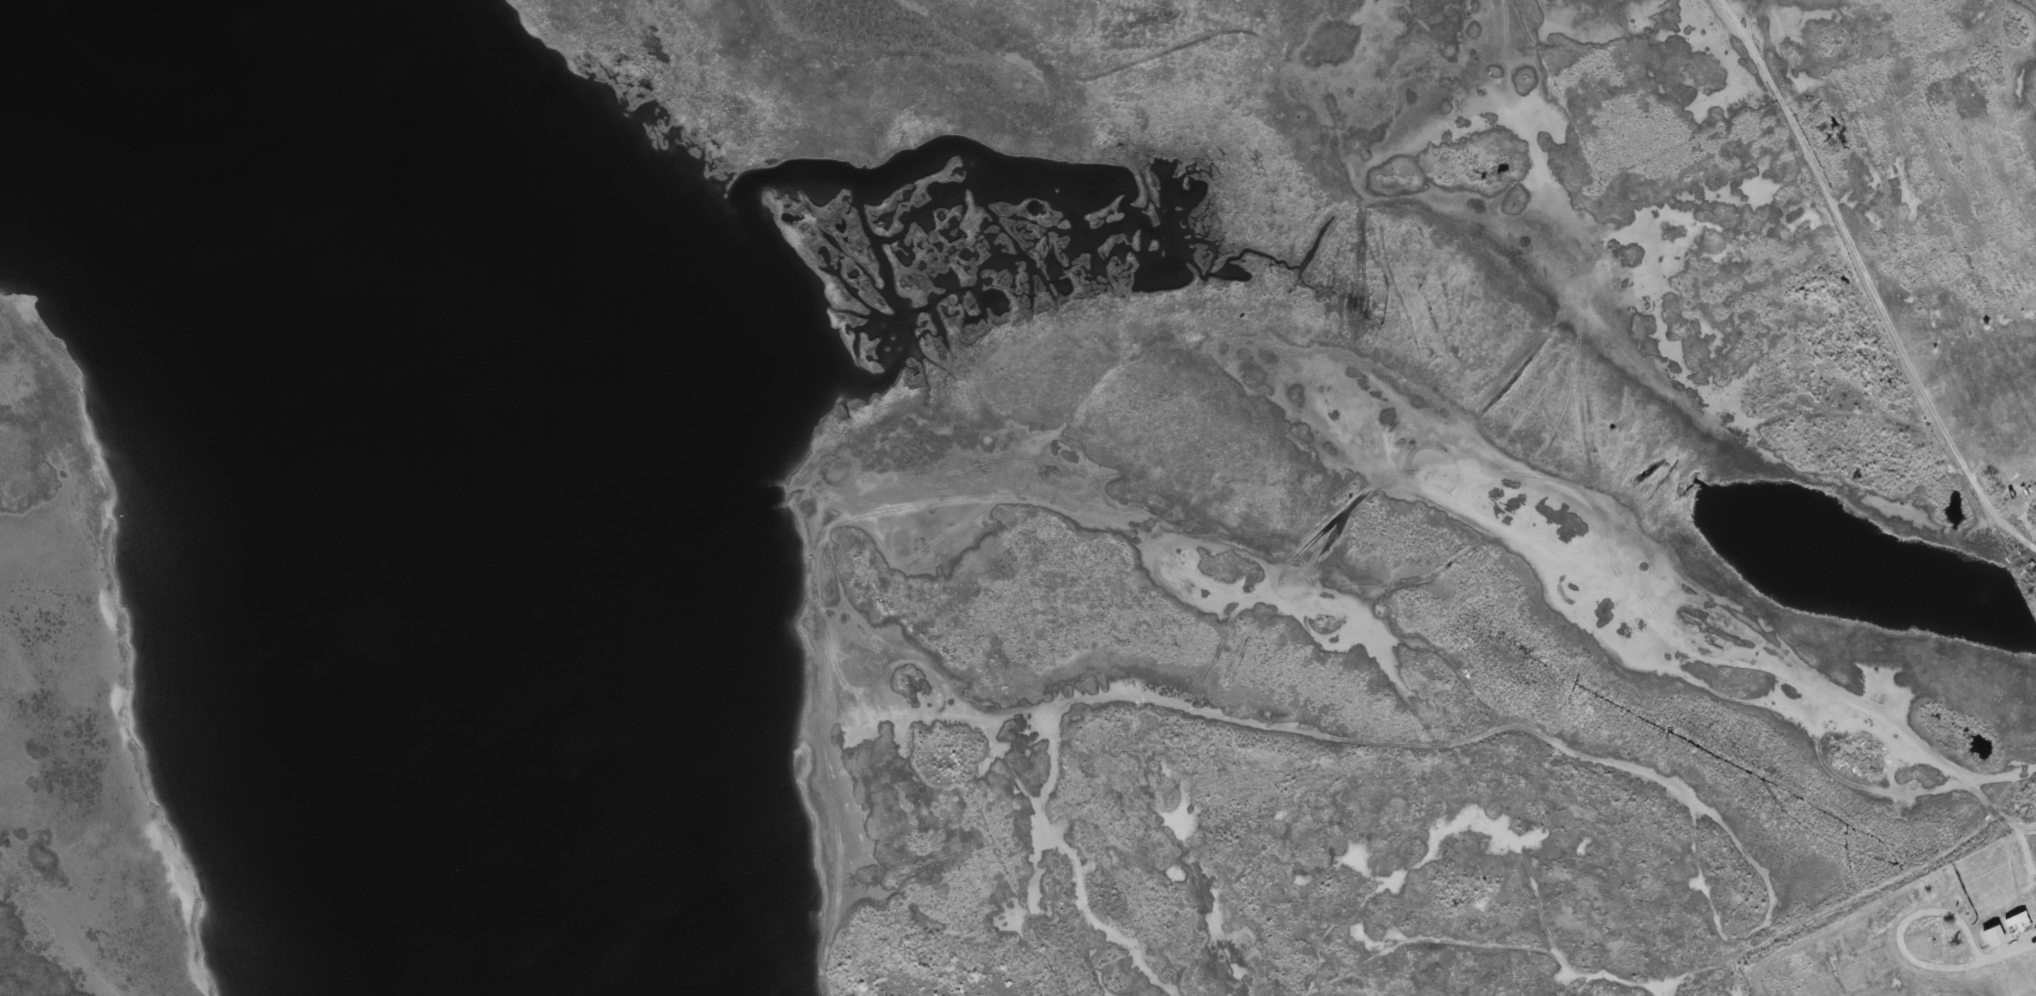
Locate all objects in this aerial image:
road: (2022, 539)
building: (1993, 936)
road: (1912, 945)
road: (2010, 951)

